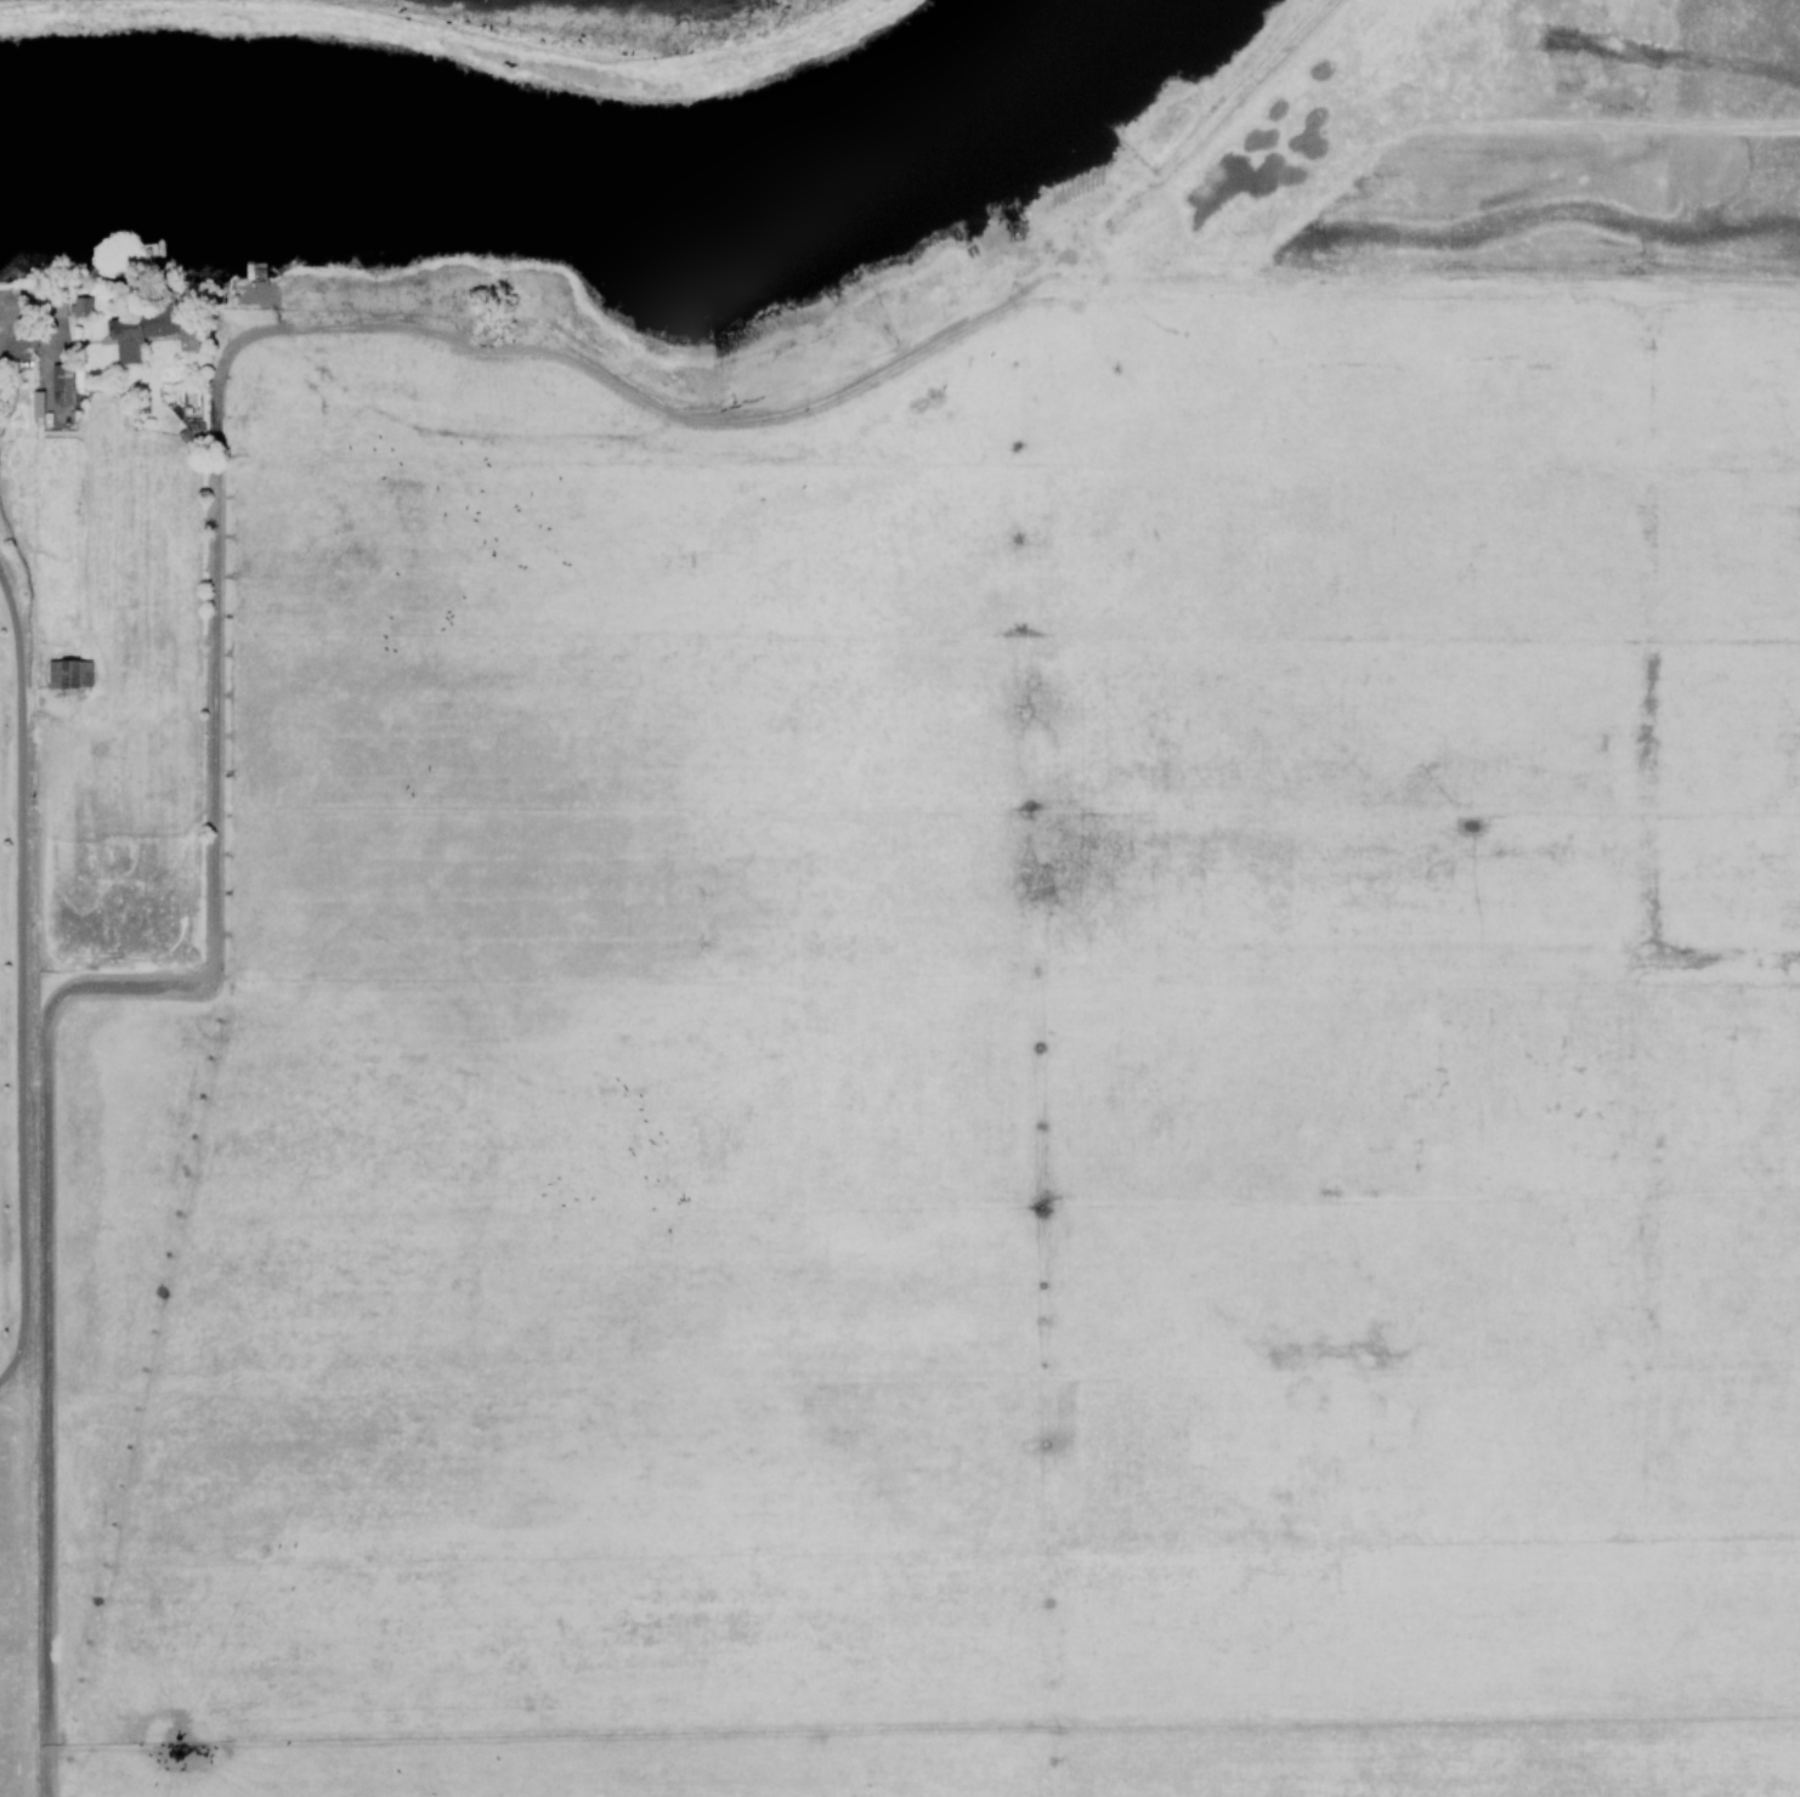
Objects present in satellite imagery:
river: (581, 200)
road: (22, 1189)
road: (15, 1387)

